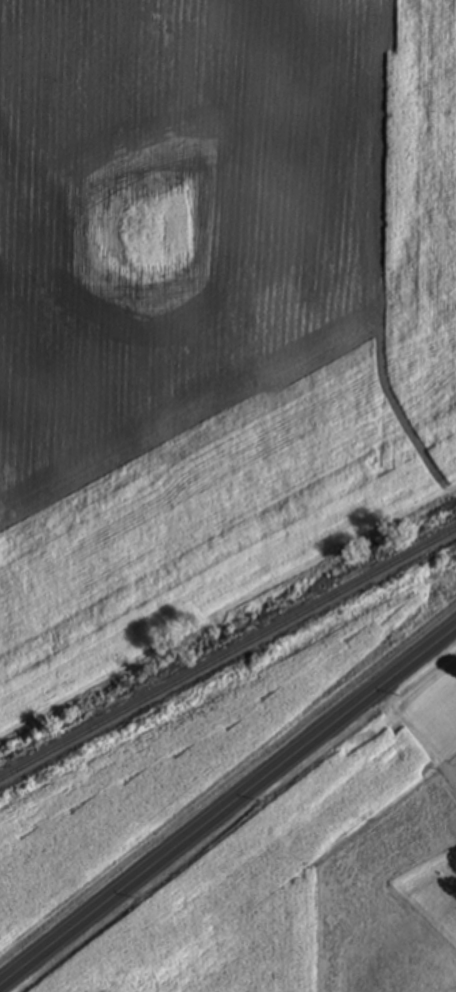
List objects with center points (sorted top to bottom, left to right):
railway: (228, 654)
road: (228, 805)

